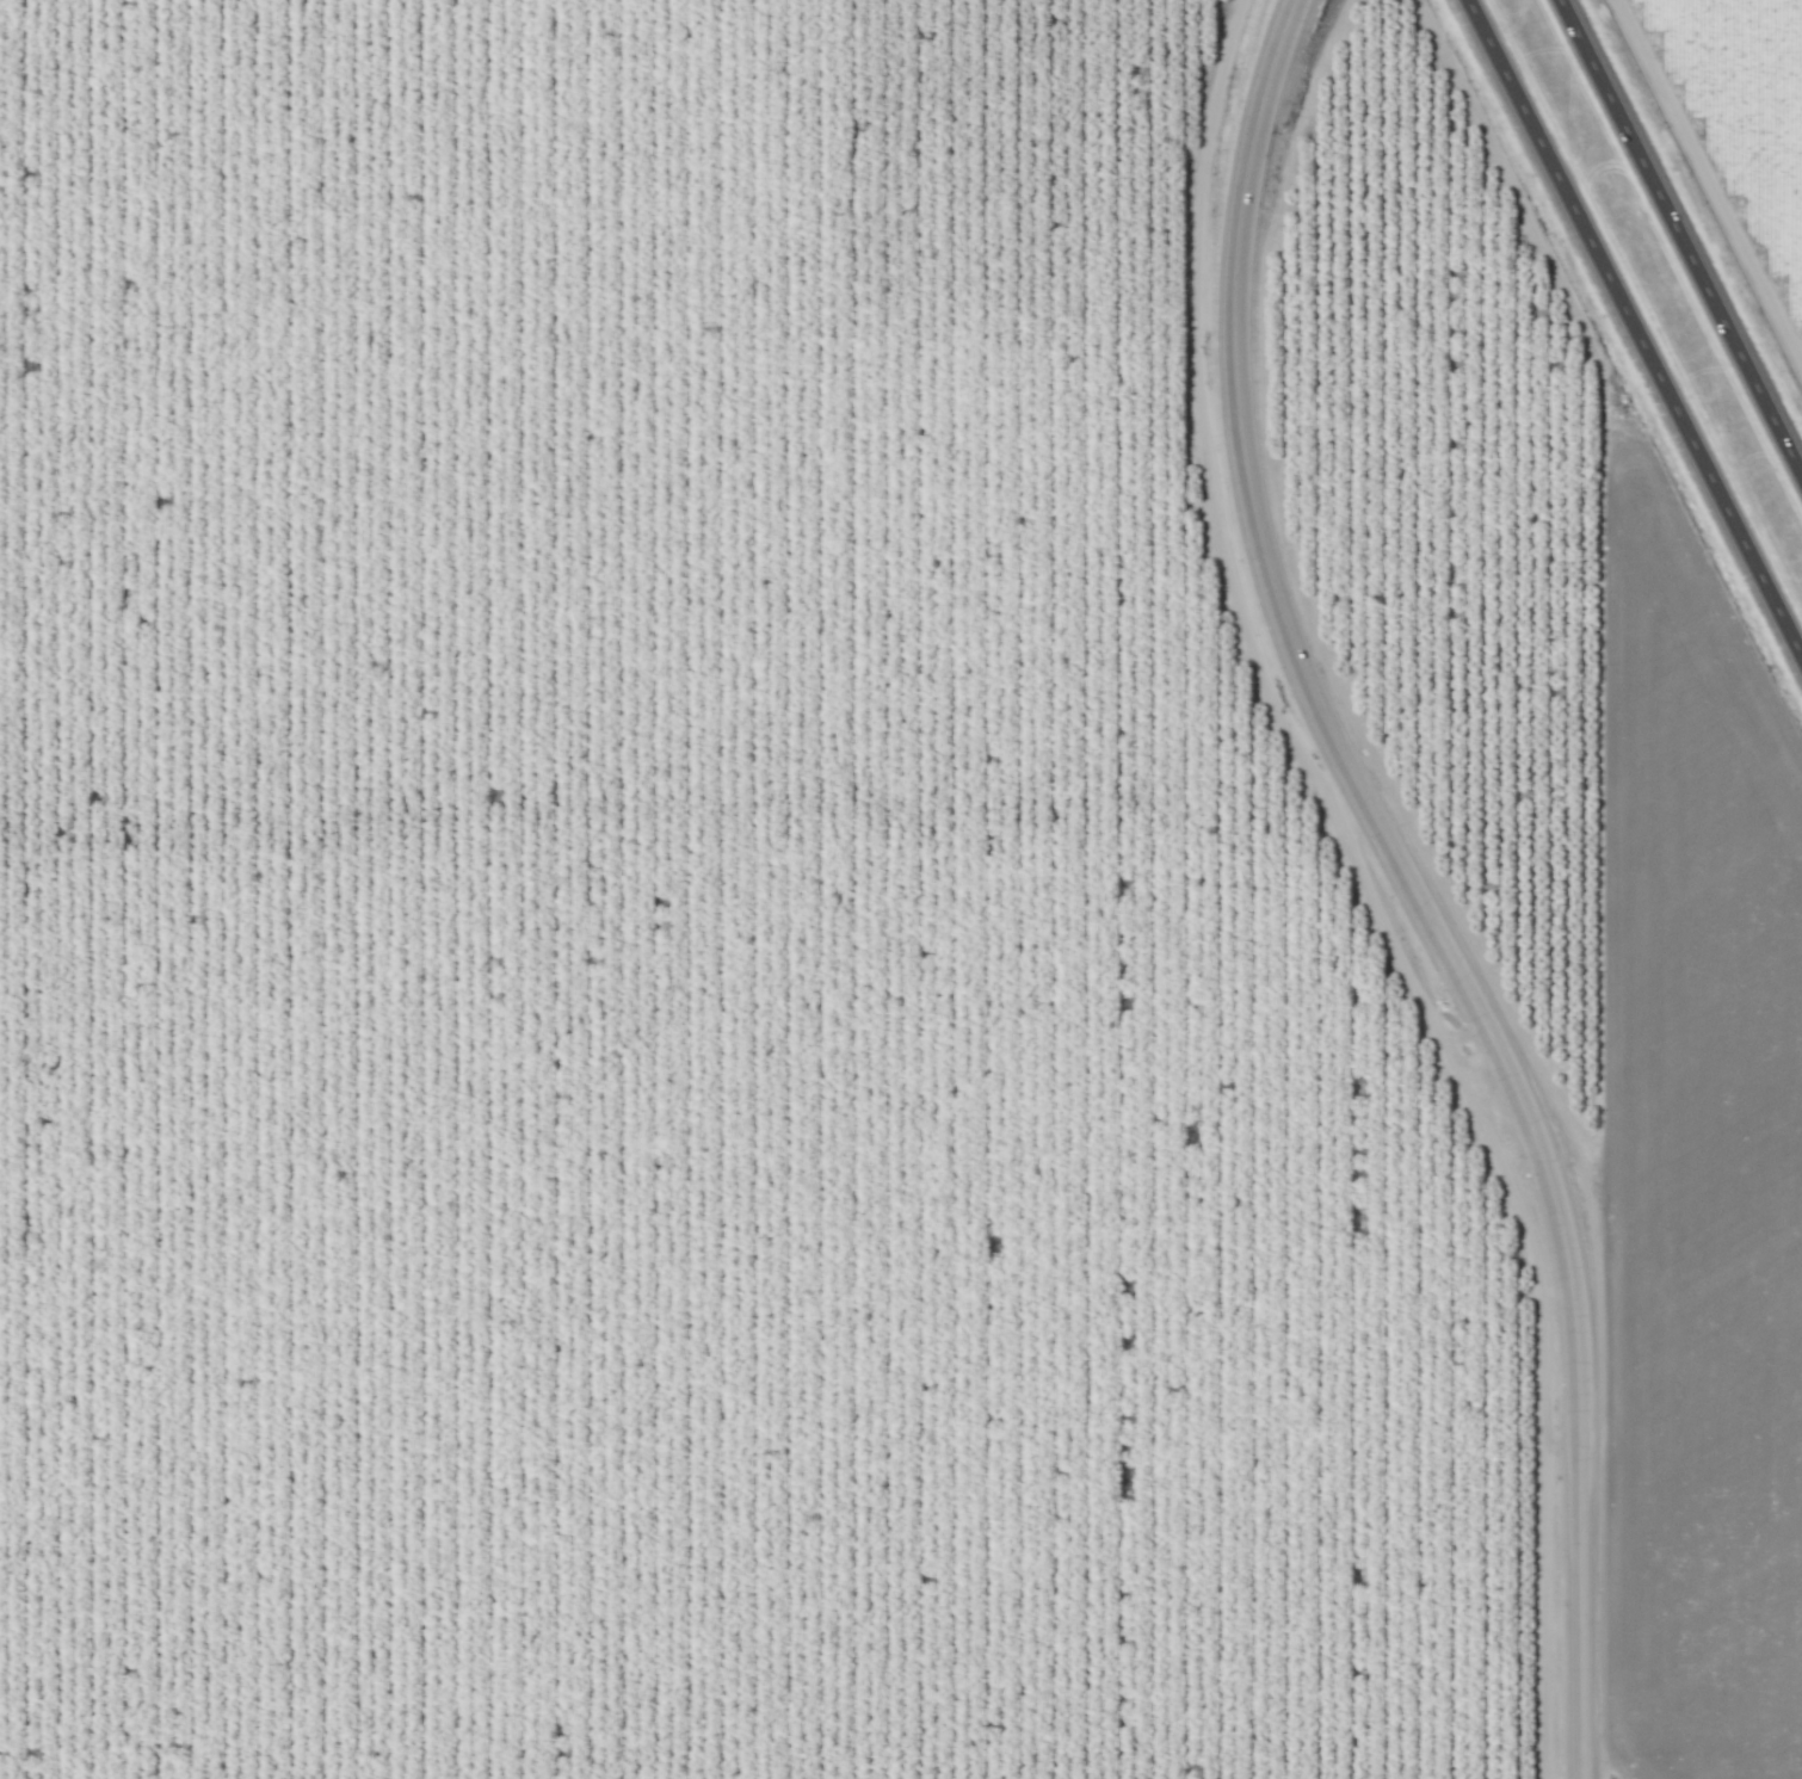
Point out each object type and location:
crop: (1733, 131)
road: (1684, 231)
road: (1633, 332)
crop: (1432, 470)
road: (1413, 884)
crop: (1692, 1141)

